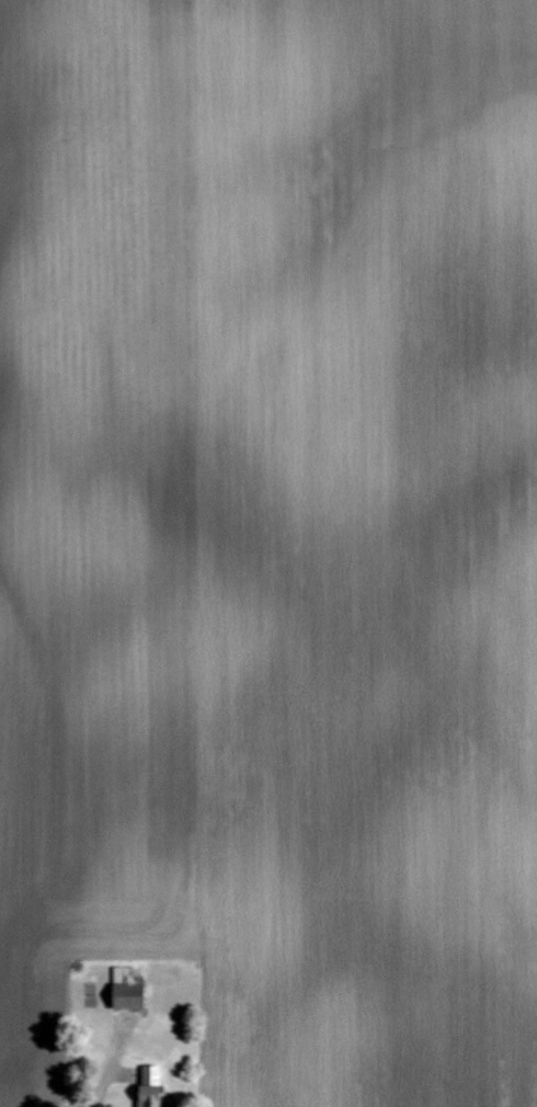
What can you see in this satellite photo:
road: (113, 1071)

